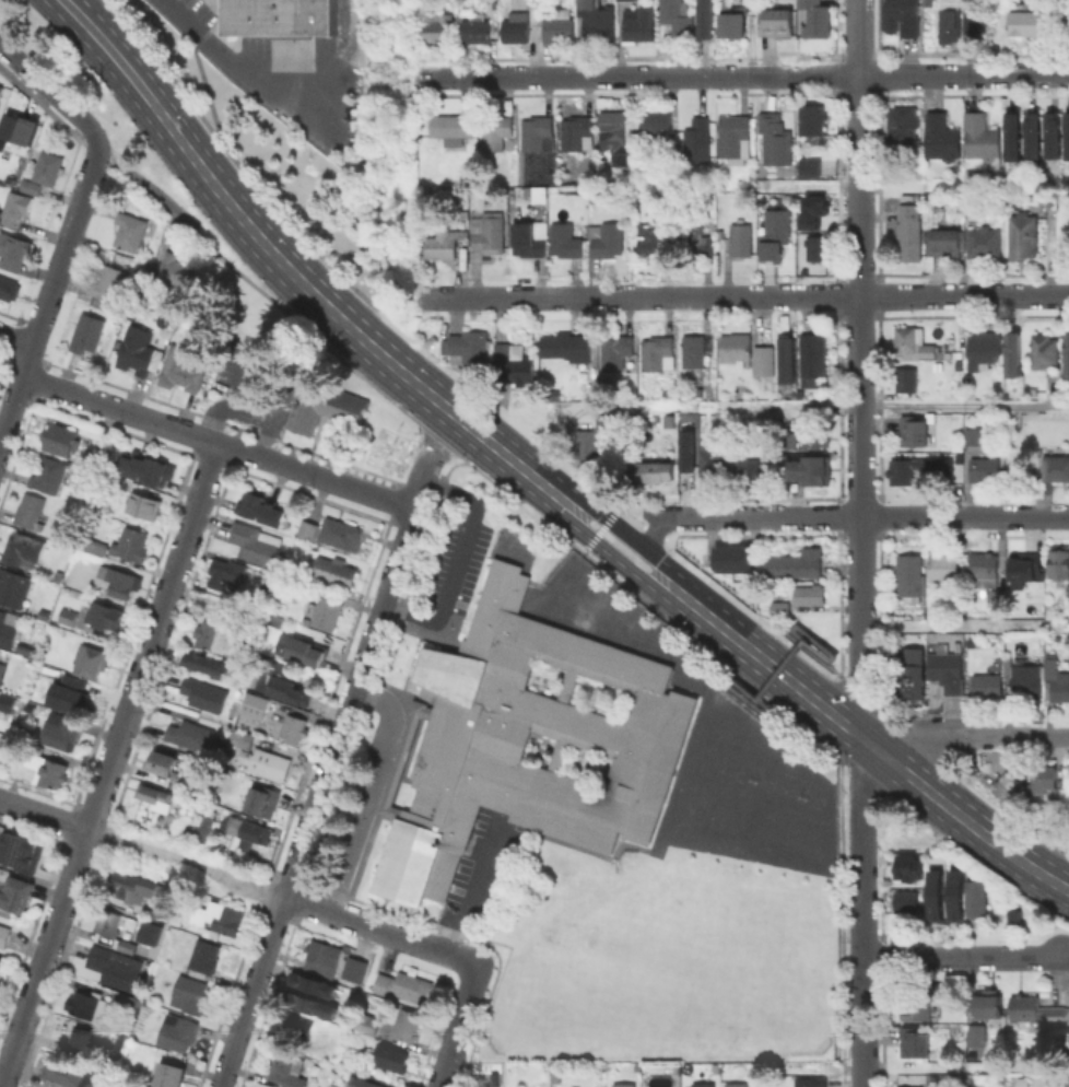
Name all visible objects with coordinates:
building: (676, 16)
building: (706, 16)
building: (812, 17)
building: (904, 17)
building: (274, 19)
railway: (341, 19)
building: (971, 20)
building: (596, 21)
building: (732, 21)
building: (950, 21)
building: (778, 22)
building: (637, 23)
building: (1027, 23)
building: (434, 24)
building: (559, 24)
building: (474, 26)
building: (516, 26)
road: (873, 31)
road: (243, 70)
road: (901, 74)
road: (874, 75)
road: (532, 77)
road: (689, 77)
building: (1, 87)
road: (52, 92)
road: (209, 101)
building: (811, 118)
building: (656, 122)
building: (903, 124)
building: (453, 127)
building: (17, 129)
building: (619, 130)
building: (496, 131)
building: (538, 132)
building: (576, 132)
building: (732, 133)
building: (1031, 135)
building: (942, 136)
building: (1052, 136)
building: (1066, 136)
building: (1011, 137)
building: (982, 138)
building: (775, 139)
building: (696, 140)
building: (810, 166)
building: (48, 167)
road: (203, 170)
road: (139, 179)
building: (32, 186)
road: (914, 187)
building: (1050, 199)
building: (15, 207)
building: (810, 210)
building: (776, 230)
building: (130, 231)
building: (908, 231)
building: (489, 232)
building: (1023, 236)
building: (647, 237)
building: (694, 237)
building: (606, 238)
building: (527, 239)
building: (565, 239)
building: (663, 239)
building: (741, 239)
building: (983, 242)
building: (443, 243)
building: (945, 244)
building: (819, 245)
building: (14, 250)
road: (61, 254)
road: (858, 257)
building: (173, 268)
building: (109, 284)
building: (9, 288)
road: (964, 294)
road: (637, 296)
road: (385, 315)
building: (87, 332)
road: (320, 341)
building: (914, 341)
building: (567, 347)
building: (985, 347)
building: (736, 348)
building: (470, 349)
building: (140, 350)
building: (693, 350)
building: (618, 352)
building: (657, 353)
building: (1045, 353)
building: (1066, 353)
building: (812, 354)
building: (1014, 354)
building: (761, 360)
building: (789, 360)
building: (512, 364)
building: (181, 367)
building: (906, 378)
road: (13, 400)
building: (326, 405)
road: (823, 406)
road: (459, 418)
building: (915, 430)
road: (193, 434)
building: (818, 435)
building: (974, 435)
building: (61, 439)
building: (594, 440)
building: (790, 441)
road: (419, 445)
building: (684, 451)
building: (101, 452)
building: (712, 463)
building: (146, 467)
building: (1055, 467)
road: (449, 469)
building: (747, 469)
building: (914, 469)
building: (986, 469)
building: (656, 470)
building: (811, 470)
building: (49, 475)
building: (122, 482)
road: (420, 483)
road: (518, 501)
building: (144, 505)
building: (265, 509)
building: (30, 510)
road: (603, 514)
road: (964, 515)
road: (742, 517)
road: (659, 528)
building: (309, 529)
building: (342, 534)
building: (130, 542)
building: (256, 542)
building: (23, 547)
building: (93, 547)
building: (733, 559)
road: (457, 561)
building: (1059, 561)
parking lot: (455, 562)
building: (796, 563)
building: (1025, 566)
building: (984, 568)
building: (943, 569)
building: (336, 570)
building: (226, 571)
building: (911, 576)
road: (704, 577)
building: (118, 580)
building: (14, 588)
road: (697, 589)
building: (809, 594)
building: (997, 597)
building: (780, 608)
building: (328, 612)
building: (932, 612)
building: (66, 615)
building: (105, 615)
road: (859, 616)
road: (762, 619)
building: (8, 630)
road: (585, 630)
road: (792, 633)
building: (213, 634)
road: (705, 651)
building: (306, 654)
road: (814, 656)
building: (91, 661)
building: (3, 662)
road: (789, 664)
building: (205, 665)
building: (912, 671)
building: (949, 673)
road: (773, 679)
building: (1055, 679)
building: (277, 681)
building: (1025, 682)
building: (987, 686)
building: (66, 692)
road: (744, 692)
building: (204, 693)
road: (837, 702)
road: (817, 703)
building: (255, 704)
building: (9, 705)
road: (809, 713)
building: (294, 727)
building: (60, 729)
building: (190, 734)
building: (612, 735)
road: (960, 736)
building: (243, 738)
building: (400, 756)
building: (162, 762)
building: (265, 762)
road: (109, 764)
track: (683, 767)
building: (991, 767)
building: (48, 768)
road: (850, 772)
park: (740, 775)
building: (1046, 782)
park: (764, 784)
building: (1002, 785)
road: (369, 791)
park: (789, 793)
building: (156, 796)
road: (315, 797)
road: (959, 797)
building: (261, 802)
park: (814, 802)
road: (44, 813)
building: (204, 826)
building: (249, 831)
park: (676, 837)
park: (694, 841)
road: (659, 843)
park: (714, 844)
park: (738, 848)
building: (22, 853)
road: (861, 858)
road: (186, 863)
building: (907, 870)
building: (133, 887)
road: (471, 887)
building: (15, 892)
building: (932, 893)
building: (953, 893)
building: (973, 896)
building: (907, 902)
building: (218, 916)
building: (1012, 916)
building: (111, 930)
road: (380, 930)
building: (146, 932)
building: (4, 936)
park: (680, 955)
building: (325, 956)
building: (204, 957)
road: (960, 957)
park: (661, 959)
building: (1, 962)
building: (114, 967)
building: (354, 970)
park: (752, 979)
building: (404, 985)
building: (313, 986)
building: (190, 994)
building: (128, 1003)
building: (87, 1004)
building: (310, 1005)
building: (918, 1005)
building: (933, 1005)
building: (988, 1005)
building: (1036, 1010)
building: (366, 1022)
road: (861, 1022)
building: (407, 1024)
building: (295, 1025)
road: (457, 1027)
building: (178, 1031)
building: (977, 1032)
building: (83, 1041)
building: (916, 1043)
building: (391, 1056)
building: (287, 1070)
building: (67, 1073)
building: (169, 1074)
building: (810, 1082)
building: (1067, 1082)
building: (1024, 1083)
building: (364, 1084)
building: (703, 1084)
building: (737, 1084)
building: (142, 1085)
building: (624, 1085)

